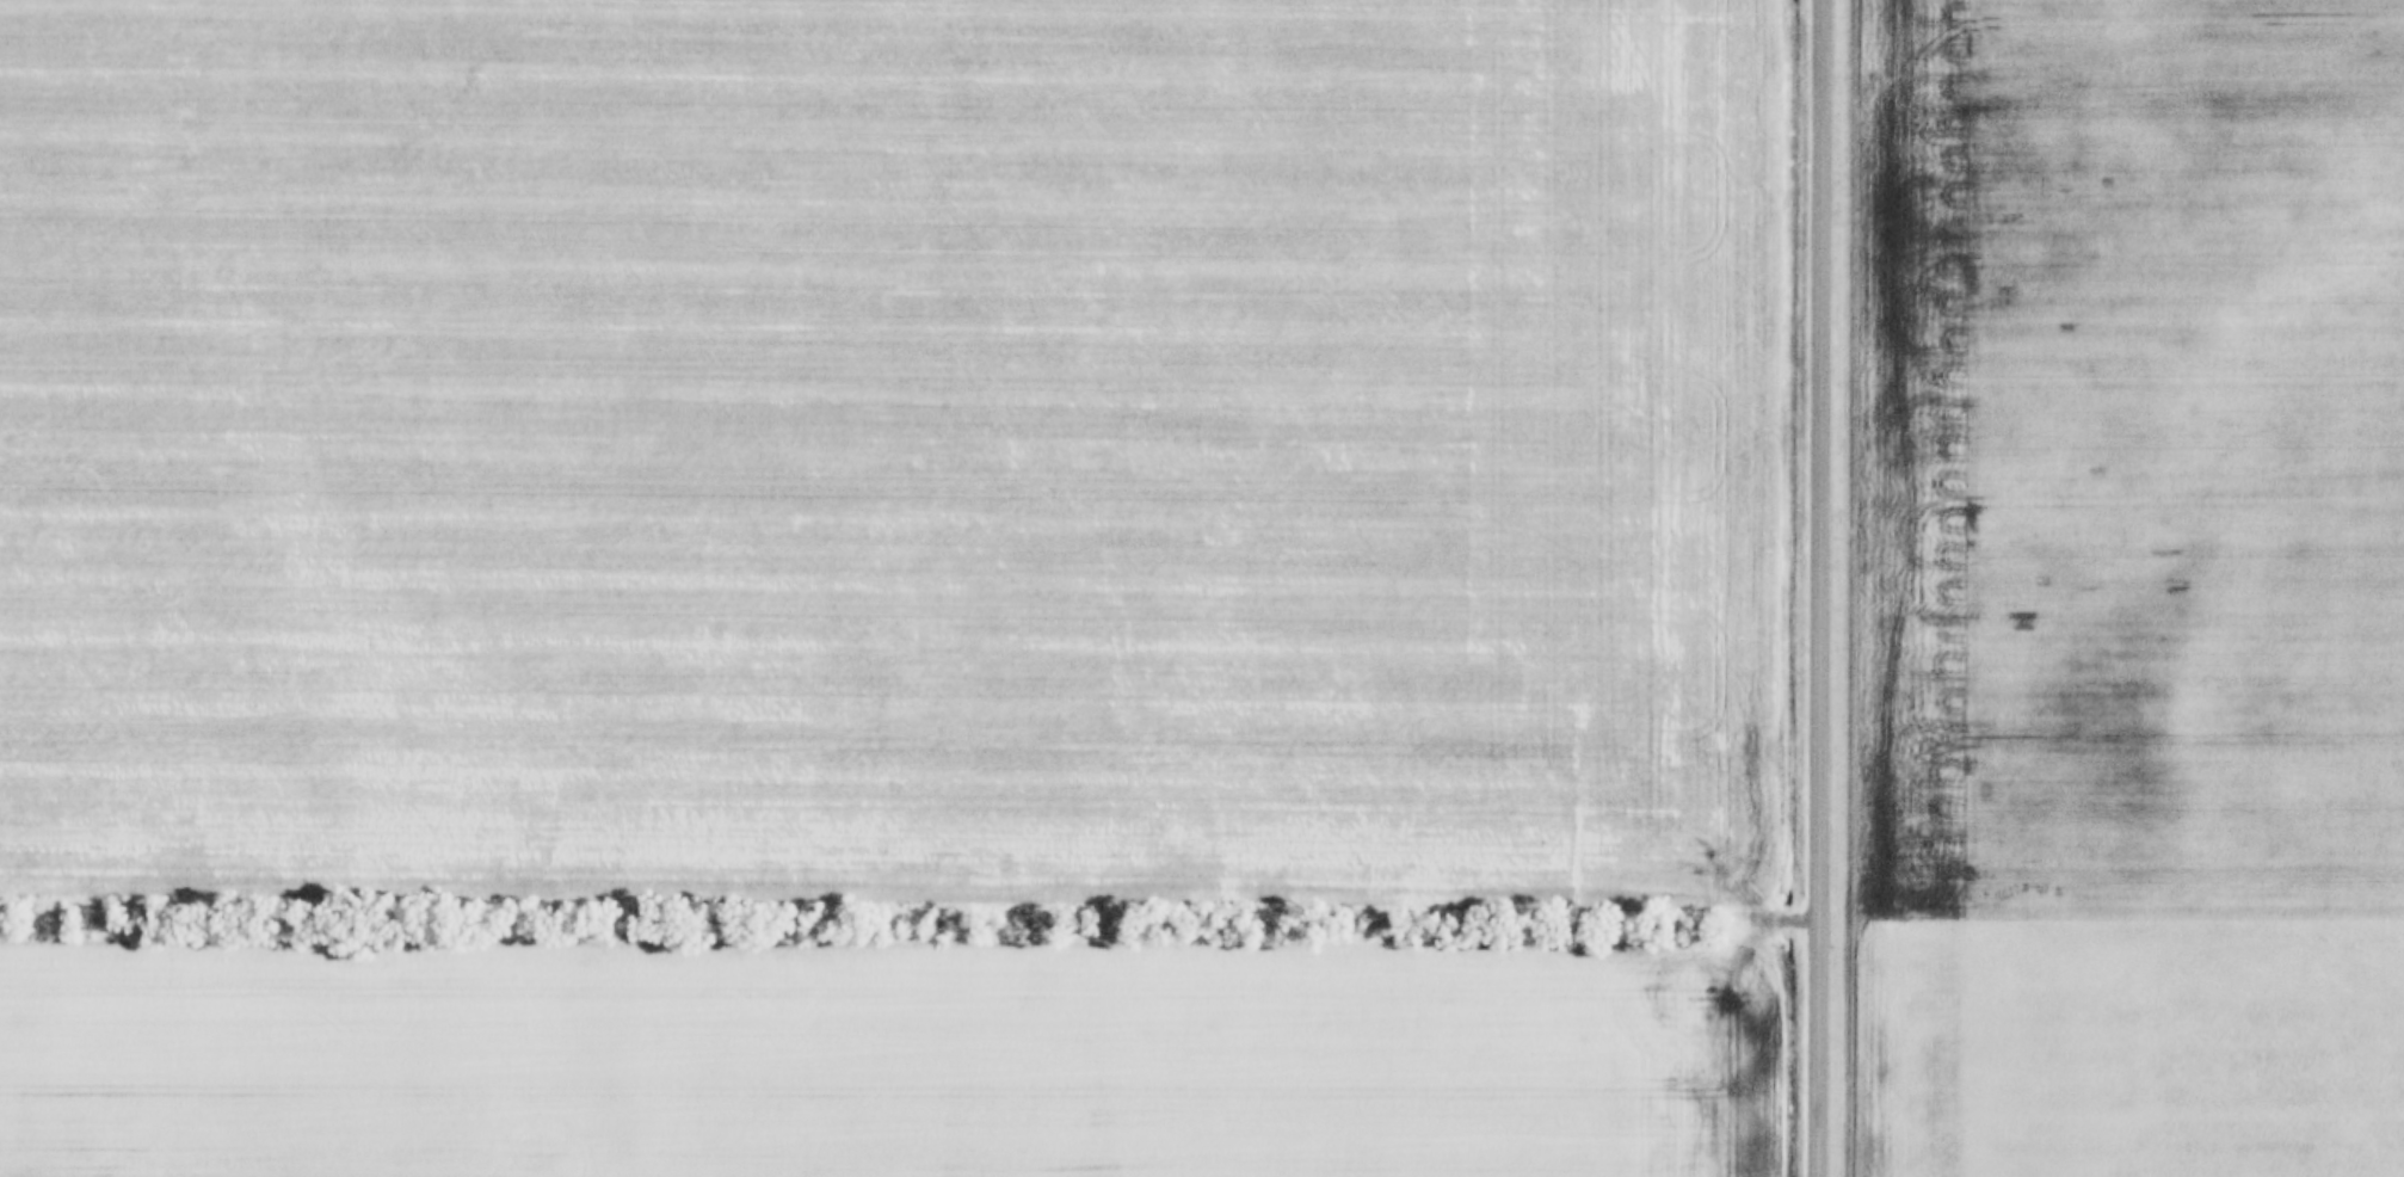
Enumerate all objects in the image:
road: (1824, 588)

